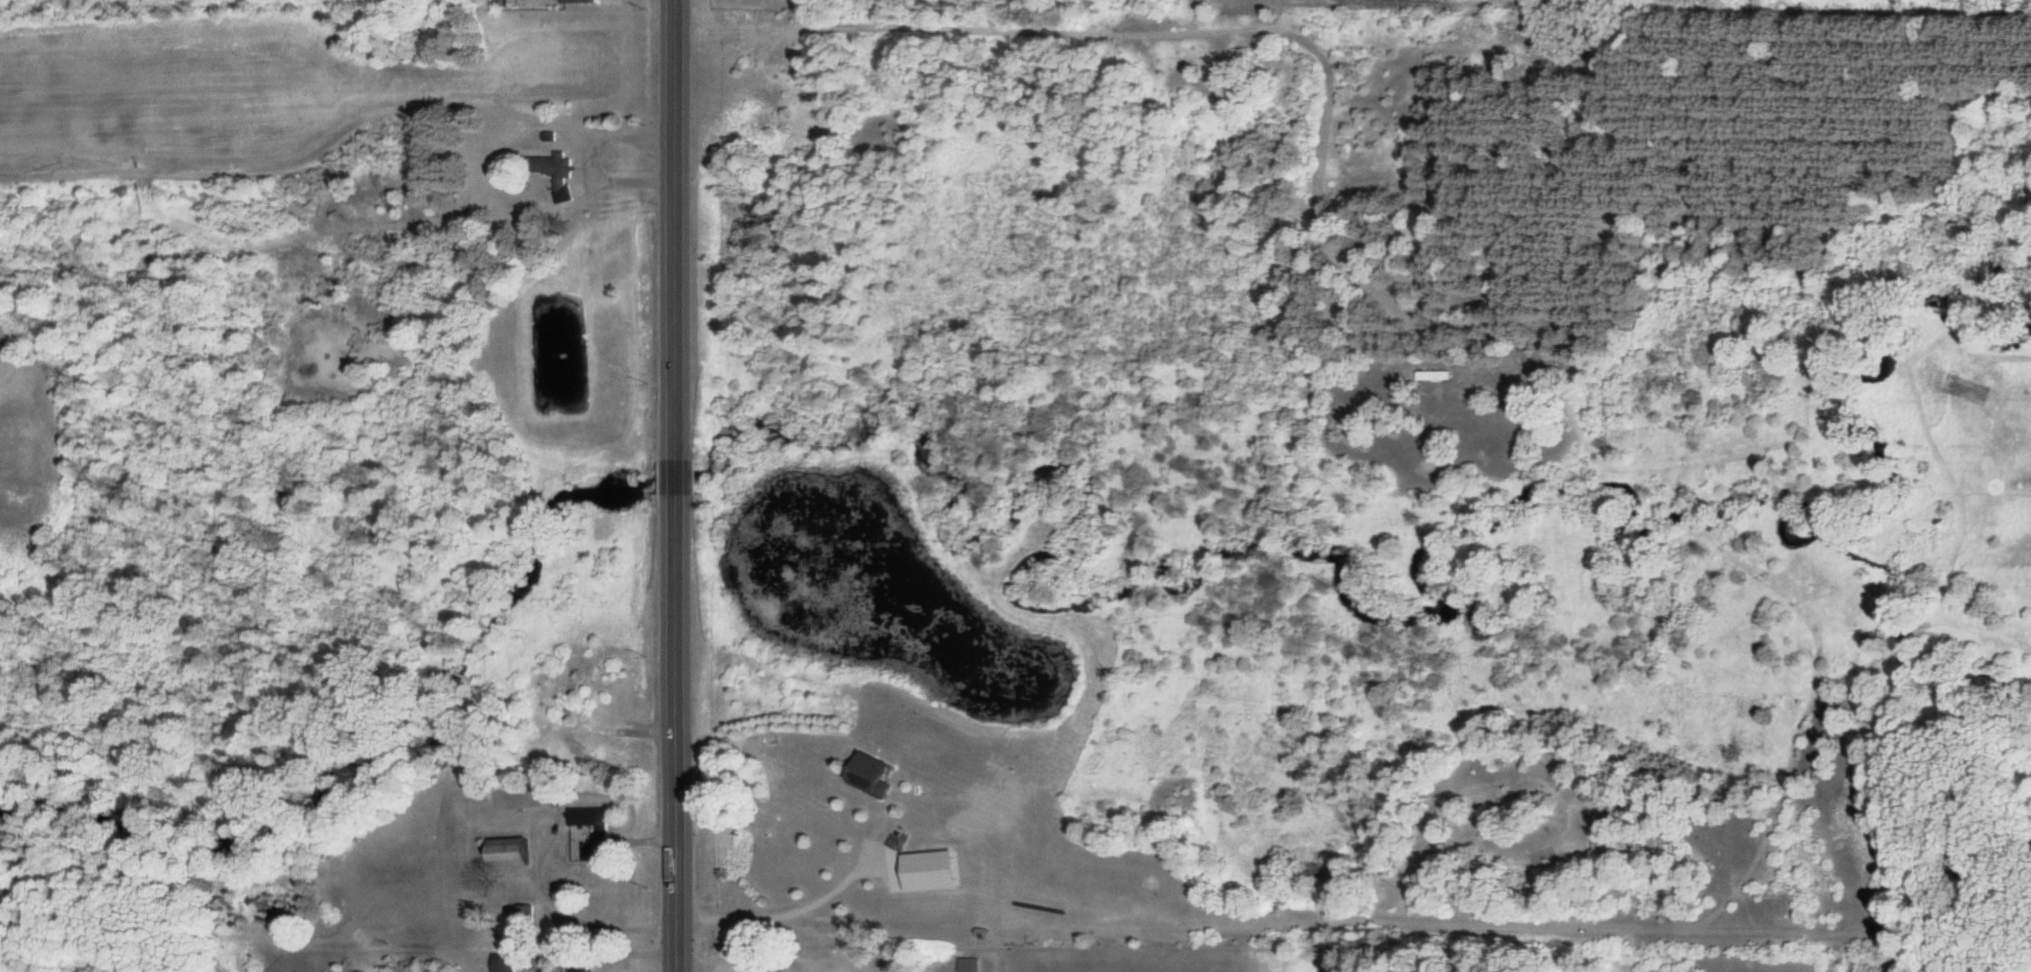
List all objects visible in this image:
building: (576, 1)
road: (1108, 35)
building: (553, 172)
building: (1432, 376)
road: (676, 486)
building: (866, 774)
building: (586, 820)
building: (503, 852)
building: (501, 962)
building: (575, 966)

